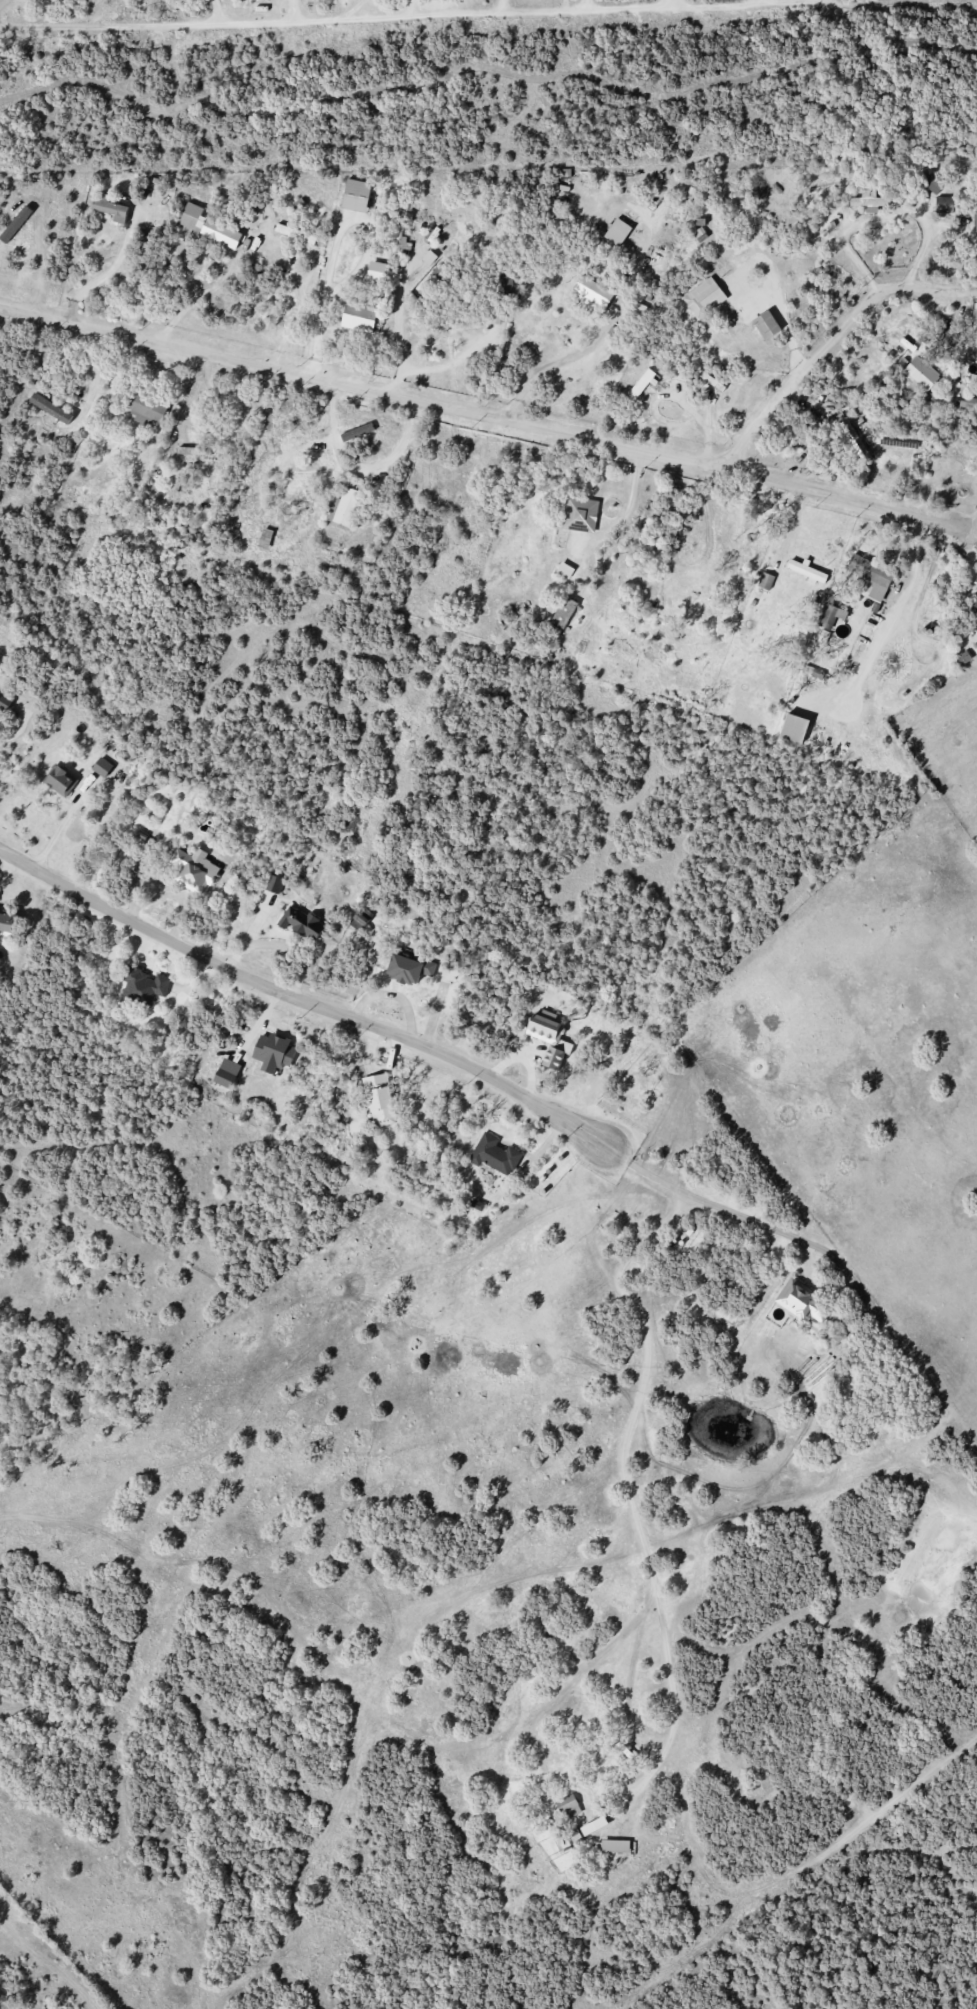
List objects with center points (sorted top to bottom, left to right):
road: (587, 4)
road: (736, 4)
road: (564, 5)
road: (501, 6)
road: (338, 20)
road: (483, 67)
building: (931, 182)
building: (356, 195)
building: (869, 200)
building: (944, 204)
building: (110, 208)
road: (883, 219)
building: (975, 221)
building: (208, 228)
building: (618, 231)
building: (295, 233)
building: (144, 240)
road: (338, 241)
building: (377, 271)
road: (106, 273)
building: (436, 281)
building: (595, 291)
building: (704, 297)
road: (189, 302)
building: (495, 316)
road: (295, 317)
building: (359, 317)
building: (766, 324)
road: (398, 333)
road: (595, 342)
road: (832, 345)
road: (450, 365)
road: (92, 372)
building: (920, 374)
building: (641, 384)
building: (717, 385)
road: (189, 395)
building: (931, 398)
building: (967, 403)
building: (146, 407)
building: (51, 408)
road: (486, 417)
road: (703, 420)
building: (852, 442)
building: (194, 450)
road: (356, 470)
building: (131, 492)
building: (344, 507)
road: (628, 510)
building: (580, 514)
road: (965, 521)
building: (265, 538)
building: (565, 570)
building: (807, 572)
building: (869, 576)
building: (765, 580)
building: (973, 606)
building: (563, 612)
building: (831, 615)
road: (889, 615)
building: (962, 658)
building: (5, 701)
building: (794, 727)
building: (102, 767)
building: (61, 780)
road: (62, 822)
building: (194, 870)
building: (275, 884)
building: (361, 918)
building: (7, 921)
building: (303, 923)
building: (408, 968)
building: (143, 985)
road: (303, 1001)
building: (188, 1019)
building: (549, 1037)
building: (274, 1052)
building: (227, 1073)
building: (380, 1099)
building: (494, 1155)
road: (645, 1168)
building: (477, 1204)
road: (748, 1218)
building: (803, 1301)
road: (629, 1490)
building: (568, 1806)
building: (612, 1846)

